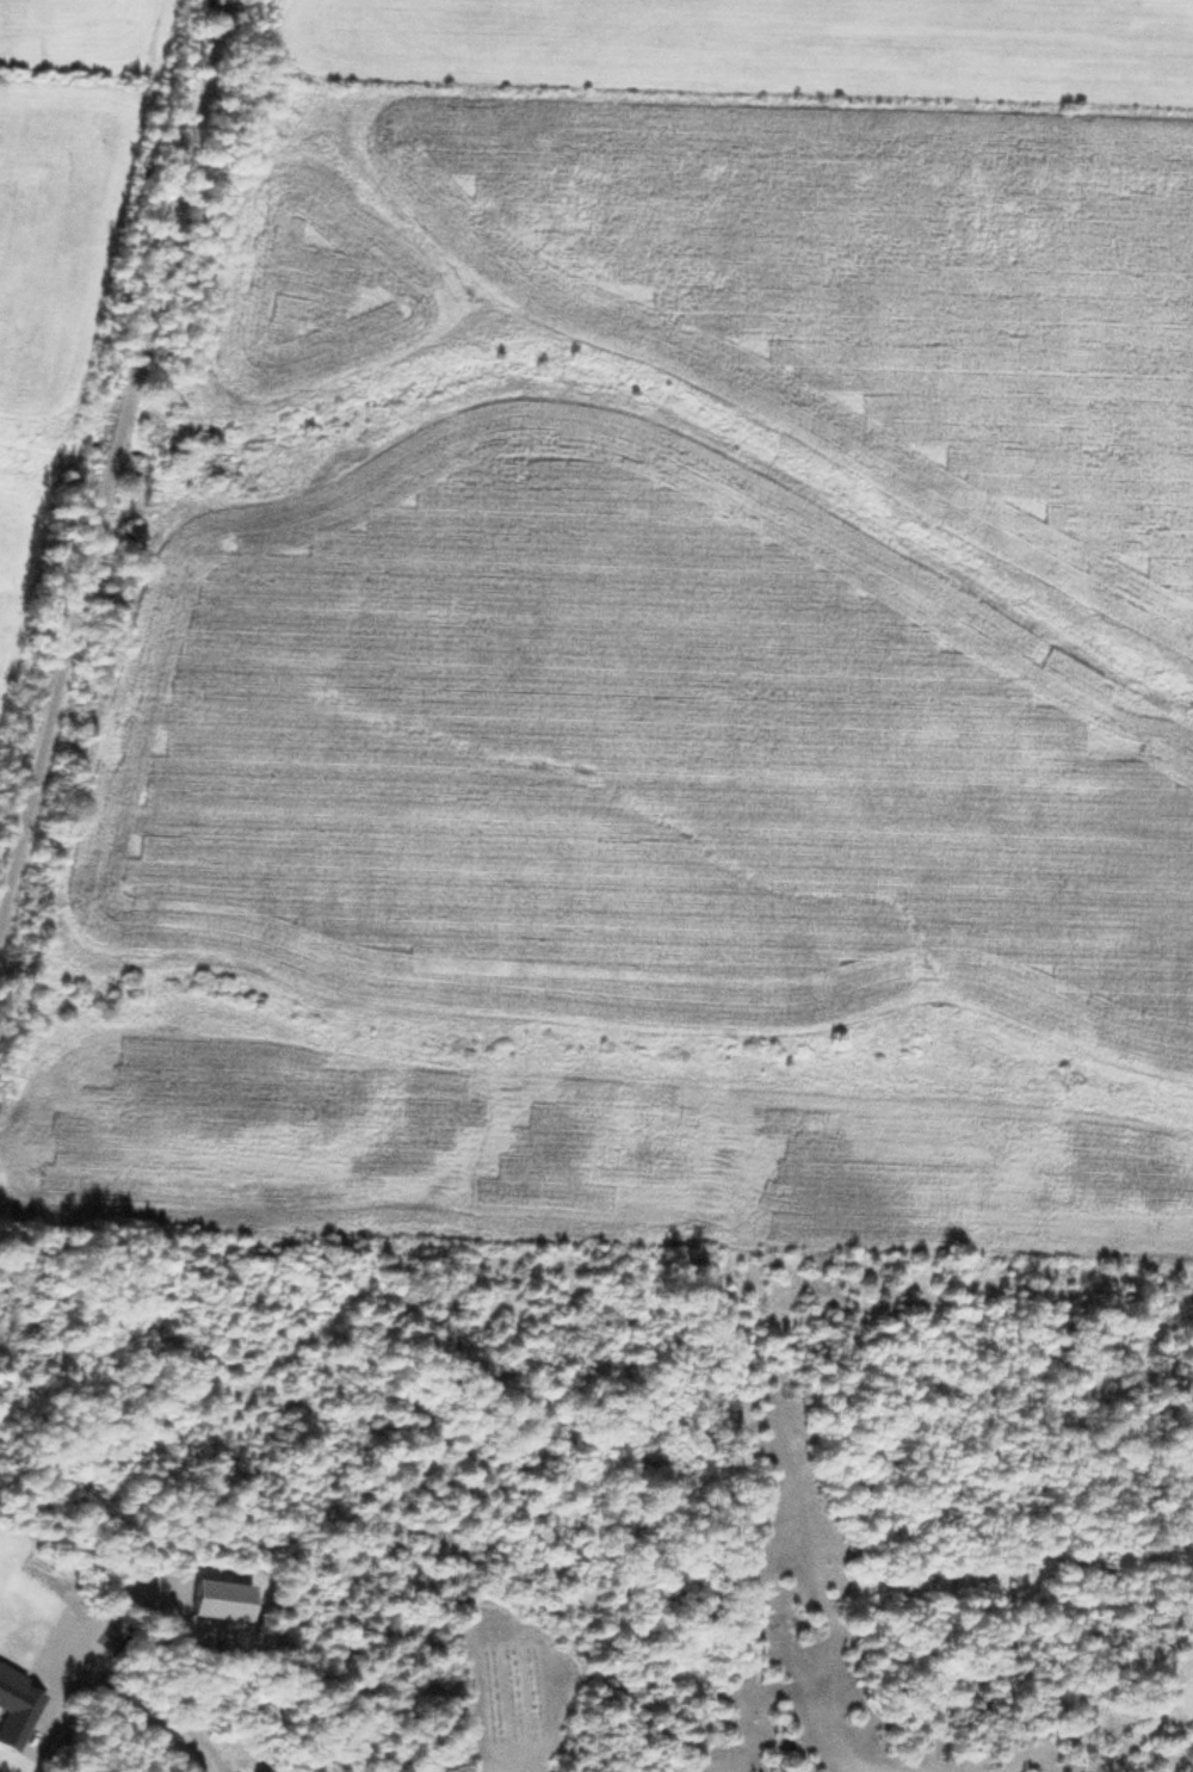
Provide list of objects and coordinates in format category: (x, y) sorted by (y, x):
road: (111, 455)
road: (147, 1711)

